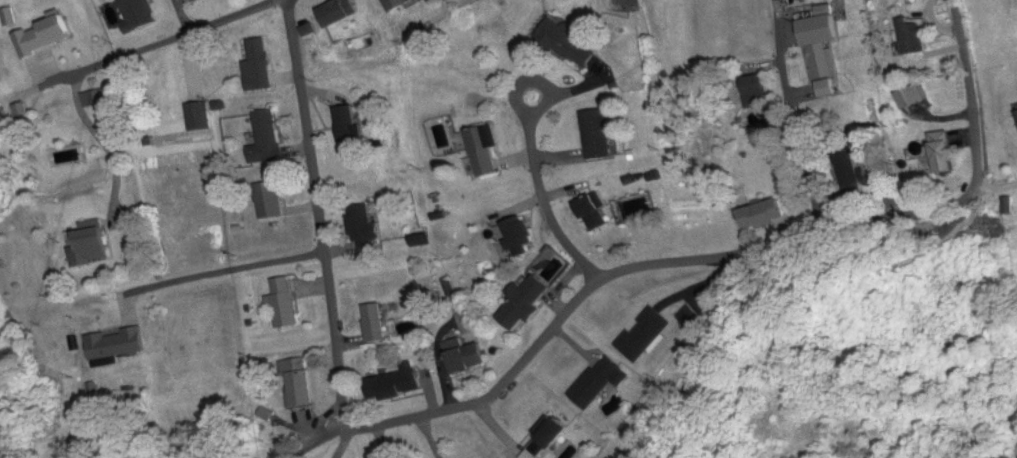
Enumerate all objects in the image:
building: (395, 6)
building: (137, 14)
road: (182, 18)
building: (337, 24)
building: (823, 31)
building: (43, 36)
building: (569, 43)
road: (166, 45)
building: (259, 65)
building: (826, 71)
building: (755, 92)
building: (912, 95)
building: (96, 98)
building: (199, 117)
road: (539, 118)
building: (347, 124)
road: (795, 124)
building: (596, 135)
building: (267, 139)
building: (483, 152)
building: (941, 153)
building: (851, 176)
road: (990, 193)
building: (271, 199)
building: (591, 214)
building: (762, 215)
road: (551, 218)
building: (364, 229)
building: (89, 245)
road: (243, 271)
building: (525, 301)
building: (283, 302)
building: (691, 316)
building: (374, 322)
building: (644, 334)
road: (545, 337)
building: (117, 344)
building: (464, 355)
building: (599, 382)
building: (299, 383)
building: (395, 383)
building: (546, 438)

